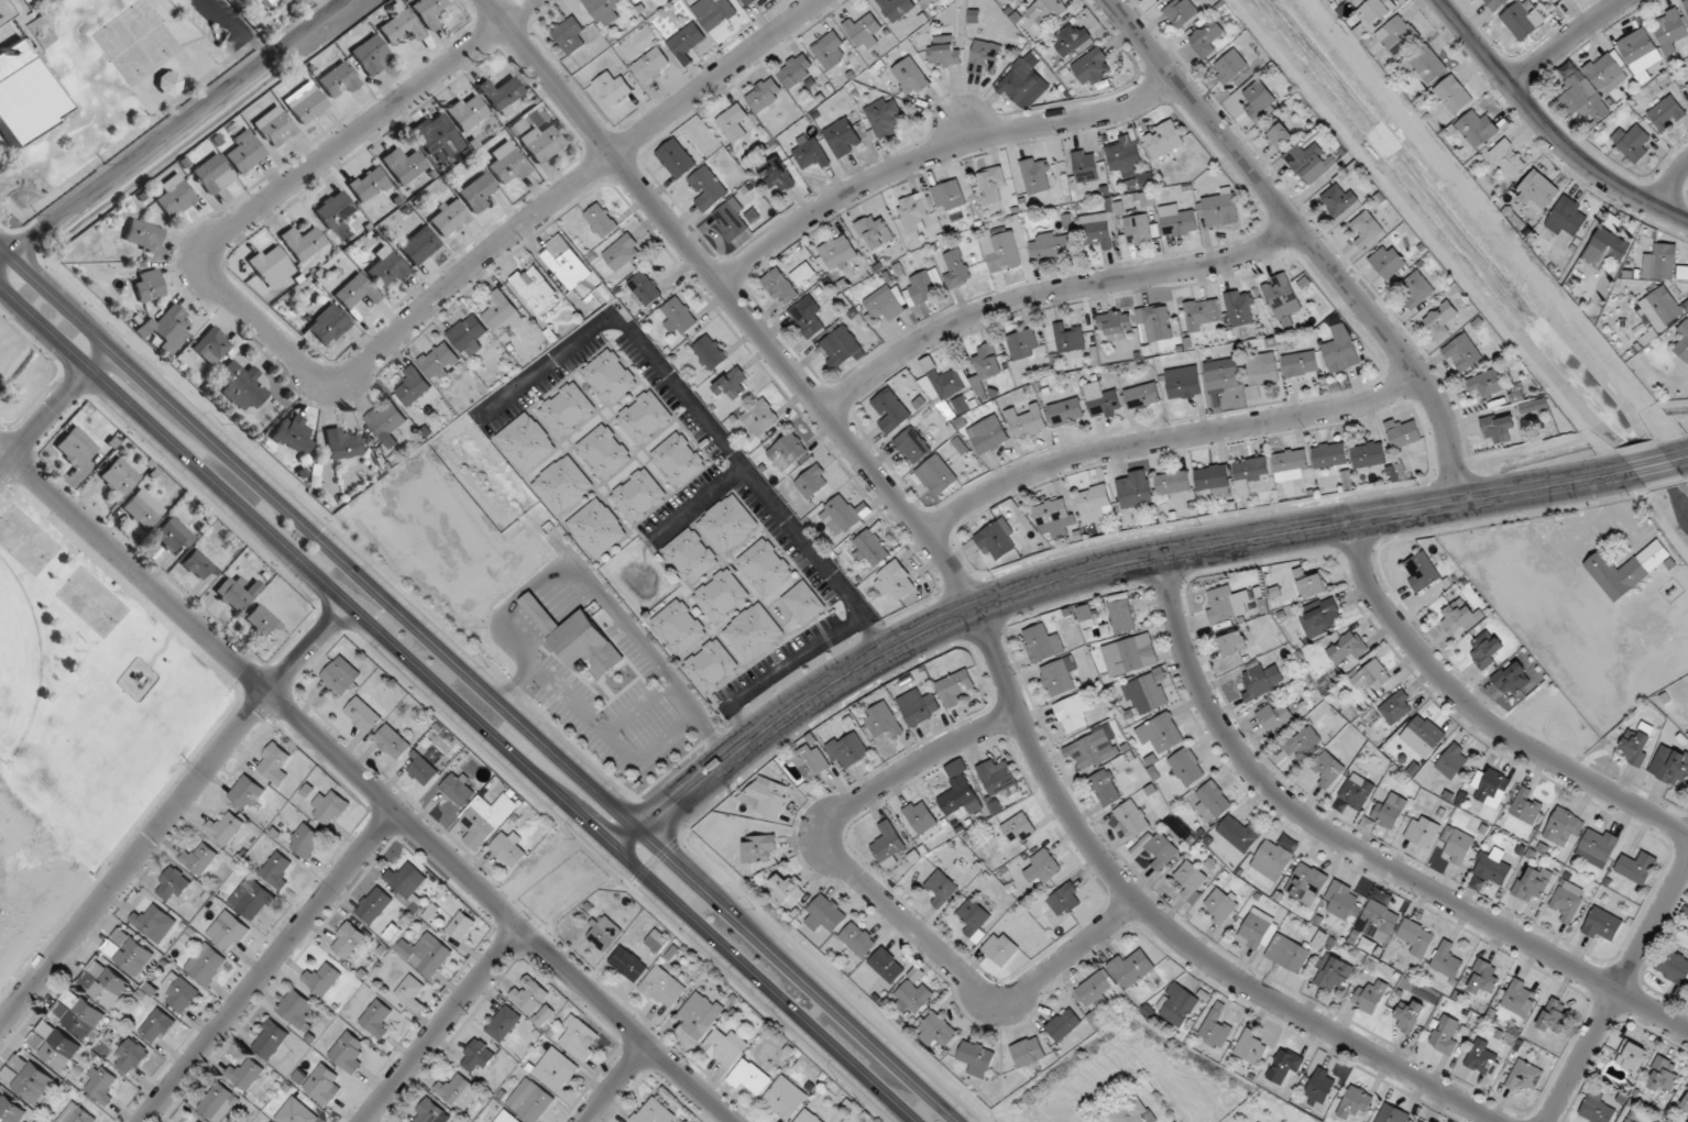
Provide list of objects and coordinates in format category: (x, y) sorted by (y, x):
building: (1558, 0)
building: (283, 1)
building: (638, 1)
building: (927, 1)
building: (1009, 1)
building: (265, 2)
building: (748, 2)
building: (1497, 3)
building: (1686, 4)
building: (603, 8)
building: (897, 8)
building: (428, 11)
building: (1046, 11)
building: (1373, 11)
building: (3, 12)
building: (713, 12)
building: (1181, 12)
building: (1522, 22)
building: (401, 25)
road: (234, 30)
building: (1671, 30)
building: (863, 31)
building: (572, 35)
building: (1397, 35)
building: (1208, 37)
building: (687, 40)
road: (1566, 40)
building: (1073, 41)
building: (829, 50)
building: (944, 52)
building: (1640, 54)
building: (369, 55)
building: (985, 58)
building: (1428, 64)
building: (651, 65)
building: (1094, 67)
building: (1230, 67)
building: (1604, 69)
building: (796, 71)
building: (912, 75)
building: (339, 81)
building: (167, 82)
building: (1021, 85)
building: (1687, 86)
building: (613, 88)
building: (501, 92)
building: (23, 95)
building: (765, 95)
building: (1454, 95)
building: (1581, 96)
building: (1260, 101)
building: (306, 102)
building: (467, 111)
building: (1667, 114)
building: (884, 116)
building: (734, 122)
building: (275, 125)
road: (1548, 128)
building: (1477, 129)
road: (172, 130)
building: (1278, 134)
building: (437, 135)
building: (843, 137)
building: (1164, 140)
building: (540, 143)
building: (1632, 143)
building: (245, 152)
road: (933, 153)
building: (811, 154)
building: (676, 158)
building: (1508, 159)
building: (507, 163)
building: (1308, 163)
building: (404, 164)
building: (1086, 166)
building: (212, 174)
building: (776, 174)
building: (1035, 176)
building: (368, 184)
road: (1671, 184)
building: (991, 185)
building: (708, 188)
building: (1537, 191)
building: (476, 193)
building: (175, 195)
building: (949, 196)
building: (1339, 200)
building: (333, 209)
building: (1221, 209)
building: (914, 212)
building: (1567, 217)
building: (448, 218)
building: (731, 220)
building: (601, 221)
building: (1177, 221)
building: (1367, 229)
building: (1138, 230)
building: (875, 231)
building: (1099, 231)
building: (143, 235)
road: (1306, 240)
building: (303, 242)
building: (1608, 244)
building: (418, 245)
building: (1051, 245)
building: (1001, 250)
building: (837, 253)
building: (623, 255)
building: (566, 262)
building: (1389, 262)
building: (1662, 263)
building: (271, 265)
building: (386, 266)
building: (956, 268)
building: (803, 274)
building: (149, 286)
building: (780, 287)
building: (924, 287)
building: (645, 288)
building: (536, 289)
building: (1417, 289)
building: (355, 291)
road: (1049, 294)
building: (1282, 296)
building: (887, 302)
building: (1240, 307)
building: (502, 311)
building: (1202, 312)
building: (809, 317)
building: (679, 318)
building: (1440, 320)
building: (1157, 322)
building: (328, 324)
building: (1116, 326)
building: (166, 329)
building: (469, 334)
building: (1070, 340)
building: (1682, 341)
building: (1023, 344)
building: (210, 346)
building: (841, 348)
building: (1341, 348)
building: (710, 353)
building: (1462, 353)
building: (440, 361)
building: (987, 362)
building: (1301, 364)
building: (1263, 369)
building: (610, 376)
building: (1223, 376)
road: (340, 378)
building: (1184, 383)
building: (241, 385)
building: (732, 385)
building: (943, 385)
building: (1487, 385)
building: (413, 386)
building: (1143, 396)
building: (1105, 404)
road: (55, 408)
building: (567, 409)
building: (891, 411)
building: (1066, 413)
building: (645, 417)
building: (760, 417)
building: (1027, 422)
building: (386, 424)
building: (1500, 428)
building: (1403, 433)
building: (293, 436)
building: (989, 436)
road: (1165, 439)
building: (526, 442)
building: (343, 444)
building: (912, 446)
building: (76, 448)
building: (603, 451)
building: (787, 452)
building: (1369, 454)
building: (1330, 455)
road: (1680, 458)
building: (678, 460)
building: (1291, 464)
road: (1652, 465)
building: (1253, 474)
building: (936, 476)
building: (119, 477)
building: (1215, 481)
building: (813, 482)
building: (1174, 482)
building: (563, 485)
road: (757, 486)
building: (1136, 490)
building: (638, 495)
building: (1095, 505)
building: (142, 509)
building: (843, 516)
building: (1054, 517)
building: (727, 524)
building: (596, 528)
building: (173, 536)
building: (996, 539)
park: (25, 540)
building: (870, 549)
building: (690, 555)
building: (197, 564)
building: (764, 566)
building: (1626, 570)
road: (1088, 571)
building: (1421, 572)
building: (895, 580)
building: (1311, 584)
building: (237, 593)
building: (721, 595)
road: (972, 599)
park: (91, 602)
building: (803, 603)
building: (1227, 604)
building: (1121, 614)
building: (1461, 616)
building: (1086, 617)
building: (1319, 617)
building: (678, 626)
building: (753, 631)
building: (577, 637)
building: (1237, 642)
building: (1042, 643)
road: (161, 649)
building: (1347, 649)
building: (1487, 650)
building: (1130, 656)
building: (710, 665)
building: (1060, 675)
building: (1372, 675)
building: (1513, 675)
building: (338, 679)
road: (483, 681)
building: (1262, 682)
building: (954, 687)
building: (1147, 694)
road: (456, 706)
building: (919, 707)
building: (1396, 707)
building: (364, 713)
building: (1073, 713)
building: (1275, 716)
road: (1480, 716)
building: (883, 721)
park: (78, 722)
building: (1426, 732)
building: (1160, 734)
building: (1303, 740)
building: (393, 743)
building: (1638, 745)
building: (1096, 747)
building: (848, 750)
building: (810, 761)
building: (1453, 761)
building: (275, 763)
building: (1187, 767)
building: (1671, 767)
building: (1328, 769)
building: (423, 770)
building: (997, 778)
road: (366, 783)
building: (1106, 788)
building: (1491, 788)
building: (458, 790)
building: (1357, 791)
building: (248, 793)
building: (766, 796)
building: (961, 798)
building: (1215, 800)
building: (1528, 806)
building: (331, 807)
building: (1389, 812)
road: (171, 813)
building: (919, 817)
building: (486, 818)
building: (1131, 820)
building: (1564, 827)
building: (227, 828)
building: (1018, 829)
building: (1423, 832)
building: (1238, 833)
building: (306, 840)
building: (888, 846)
building: (1459, 847)
building: (1598, 847)
building: (760, 848)
building: (1160, 848)
building: (508, 849)
road: (1360, 850)
building: (199, 858)
building: (1272, 859)
building: (1043, 867)
building: (1636, 867)
building: (1493, 868)
building: (277, 870)
building: (407, 880)
building: (1192, 881)
building: (1534, 883)
building: (1306, 884)
building: (172, 886)
building: (942, 888)
building: (788, 890)
building: (251, 898)
building: (1064, 900)
building: (1568, 901)
building: (1344, 902)
road: (885, 903)
building: (375, 905)
building: (1220, 905)
building: (825, 914)
building: (974, 921)
building: (1379, 922)
building: (153, 923)
building: (461, 926)
building: (1603, 926)
building: (1254, 930)
building: (228, 931)
building: (604, 934)
building: (1416, 937)
building: (858, 939)
building: (350, 943)
building: (1000, 949)
building: (128, 952)
building: (427, 954)
building: (1289, 954)
building: (1447, 961)
building: (206, 964)
building: (628, 964)
road: (268, 966)
building: (887, 966)
building: (1131, 968)
building: (1335, 975)
building: (1483, 978)
building: (322, 979)
building: (103, 983)
building: (662, 988)
building: (409, 990)
road: (1614, 990)
building: (180, 992)
building: (1094, 992)
building: (529, 994)
building: (1370, 997)
building: (912, 998)
building: (1519, 999)
building: (1177, 1005)
building: (298, 1012)
building: (79, 1013)
building: (700, 1014)
building: (1554, 1015)
building: (544, 1016)
building: (379, 1018)
building: (1410, 1018)
building: (503, 1023)
road: (440, 1024)
building: (1063, 1025)
building: (157, 1026)
building: (1216, 1028)
building: (936, 1031)
building: (1447, 1035)
building: (578, 1037)
building: (271, 1039)
building: (54, 1045)
building: (724, 1046)
building: (1251, 1047)
building: (1028, 1052)
building: (348, 1053)
building: (976, 1055)
building: (130, 1057)
building: (476, 1058)
building: (1481, 1058)
building: (1632, 1058)
building: (1284, 1066)
building: (555, 1069)
building: (246, 1074)
building: (1664, 1075)
building: (752, 1076)
building: (1523, 1077)
building: (26, 1079)
road: (615, 1082)
building: (100, 1083)
building: (322, 1085)
building: (1320, 1086)
building: (458, 1092)
building: (1687, 1096)
building: (783, 1098)
building: (529, 1101)
building: (219, 1103)
building: (1356, 1103)
building: (1597, 1108)
building: (10, 1110)
building: (1131, 1111)
building: (296, 1112)
building: (429, 1112)
building: (655, 1112)
building: (77, 1113)
building: (1393, 1114)
building: (808, 1116)
building: (506, 1118)
building: (844, 1121)
building: (1417, 1121)
building: (1629, 1121)

